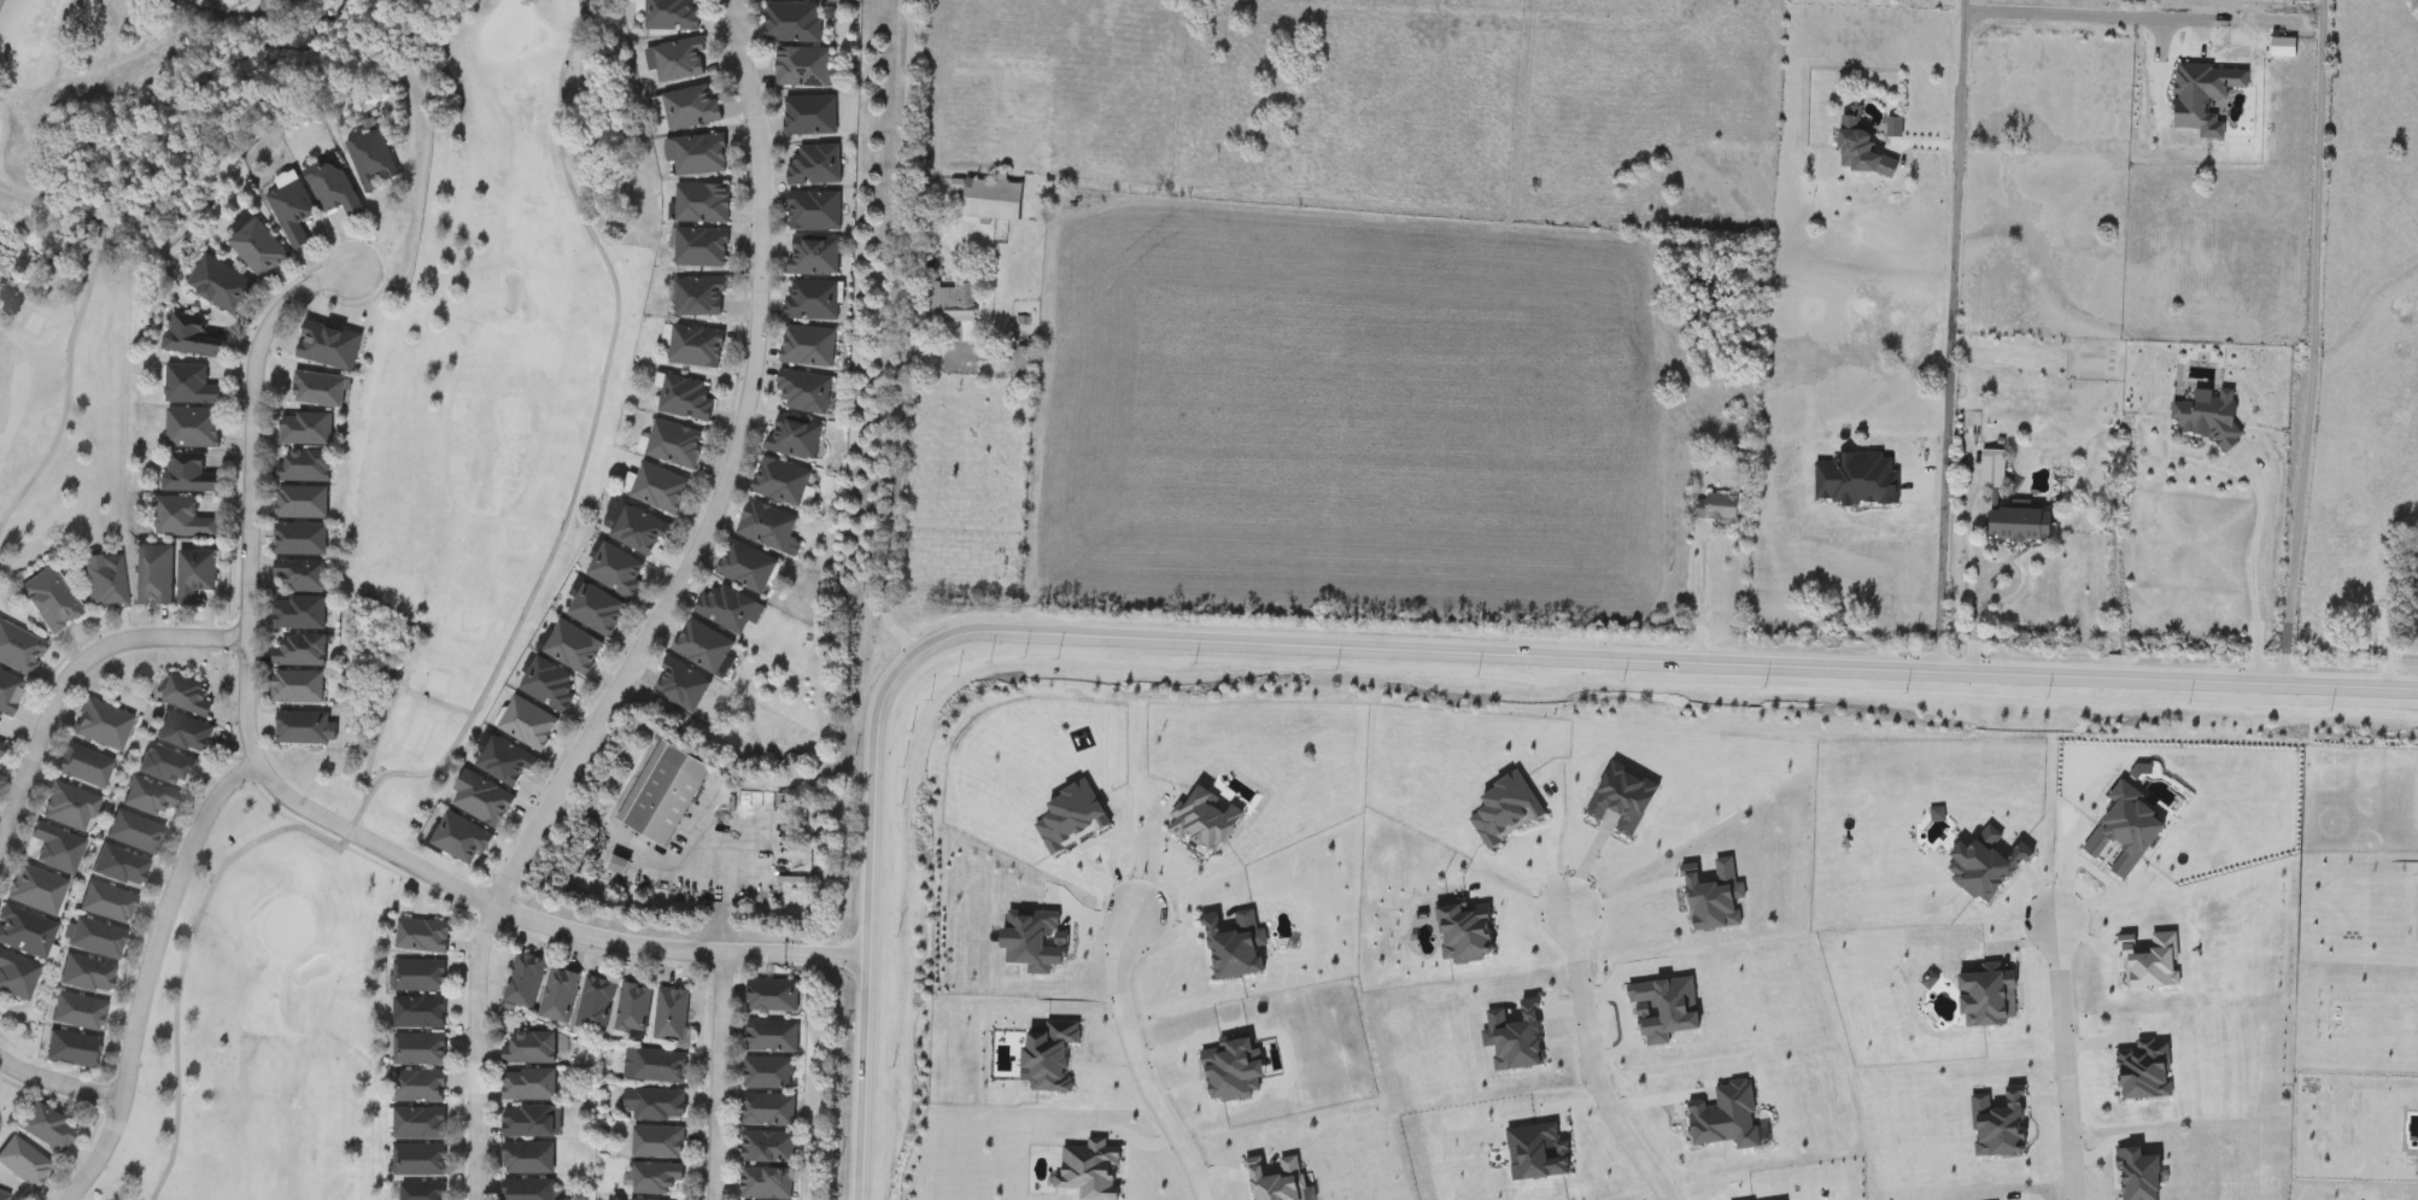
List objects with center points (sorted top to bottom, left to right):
road: (0, 0)
building: (801, 0)
road: (2083, 7)
road: (239, 14)
building: (673, 16)
building: (792, 24)
park: (509, 25)
building: (681, 60)
building: (806, 69)
building: (693, 107)
building: (813, 116)
building: (702, 156)
building: (375, 160)
building: (816, 165)
building: (334, 188)
building: (995, 200)
building: (704, 205)
building: (294, 212)
building: (816, 212)
building: (260, 250)
building: (704, 250)
building: (816, 259)
building: (223, 287)
building: (701, 299)
building: (813, 302)
building: (953, 304)
road: (76, 323)
road: (1952, 329)
road: (2315, 336)
building: (197, 338)
building: (330, 347)
building: (810, 347)
building: (697, 349)
building: (1017, 364)
building: (191, 386)
building: (320, 391)
building: (807, 396)
building: (687, 400)
building: (194, 428)
building: (308, 431)
building: (796, 439)
building: (677, 445)
building: (305, 468)
building: (1990, 469)
building: (188, 476)
road: (721, 478)
building: (783, 482)
building: (660, 490)
road: (1031, 496)
road: (896, 501)
building: (304, 504)
building: (1711, 508)
building: (183, 521)
building: (2015, 523)
building: (768, 527)
building: (640, 532)
building: (303, 542)
road: (2253, 563)
building: (749, 568)
building: (620, 573)
building: (198, 575)
building: (156, 576)
building: (303, 576)
road: (1980, 576)
building: (106, 583)
road: (1704, 591)
building: (51, 602)
park: (449, 602)
building: (728, 610)
building: (598, 611)
building: (300, 615)
road: (1384, 643)
building: (706, 648)
building: (575, 649)
building: (19, 650)
building: (301, 652)
road: (72, 667)
road: (491, 679)
building: (552, 687)
building: (684, 687)
building: (299, 689)
building: (10, 693)
building: (188, 697)
building: (104, 726)
building: (531, 726)
building: (305, 730)
building: (187, 734)
building: (0, 753)
building: (507, 763)
building: (86, 767)
building: (169, 767)
building: (666, 796)
building: (152, 801)
road: (295, 801)
building: (486, 802)
building: (69, 807)
building: (136, 833)
building: (463, 841)
building: (58, 849)
road: (1149, 855)
road: (1550, 855)
road: (1112, 857)
building: (122, 867)
road: (726, 888)
building: (37, 890)
road: (1627, 890)
road: (1520, 901)
building: (110, 903)
park: (288, 927)
building: (25, 933)
building: (425, 937)
building: (99, 939)
road: (150, 973)
road: (1626, 974)
building: (89, 976)
building: (18, 977)
building: (421, 978)
building: (528, 982)
building: (562, 997)
building: (775, 997)
building: (598, 1006)
building: (637, 1009)
building: (81, 1013)
building: (421, 1014)
building: (674, 1017)
road: (1623, 1024)
building: (774, 1040)
building: (74, 1050)
building: (531, 1050)
building: (421, 1052)
road: (481, 1052)
road: (2062, 1056)
road: (1591, 1058)
road: (1134, 1059)
building: (662, 1069)
road: (55, 1075)
building: (769, 1075)
road: (721, 1076)
building: (533, 1087)
building: (418, 1088)
building: (660, 1106)
building: (771, 1112)
building: (533, 1124)
building: (421, 1125)
building: (49, 1129)
building: (661, 1143)
building: (769, 1149)
building: (532, 1159)
building: (421, 1163)
building: (25, 1164)
building: (658, 1181)
building: (768, 1184)
building: (532, 1190)
building: (425, 1192)
road: (1165, 1193)
building: (4, 1196)
road: (1038, 1196)

